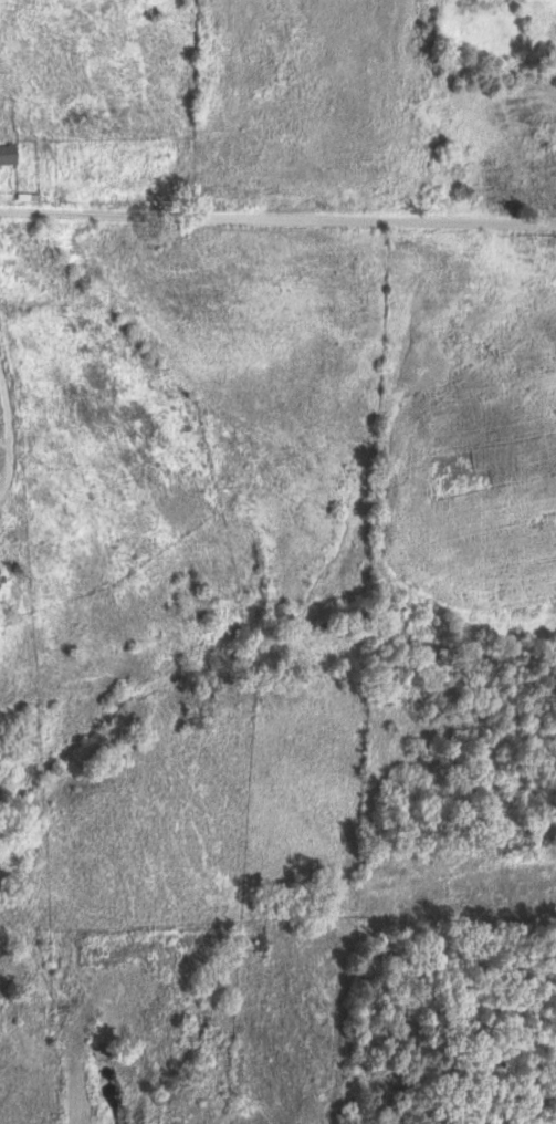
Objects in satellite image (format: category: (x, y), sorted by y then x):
road: (277, 221)
road: (14, 431)

